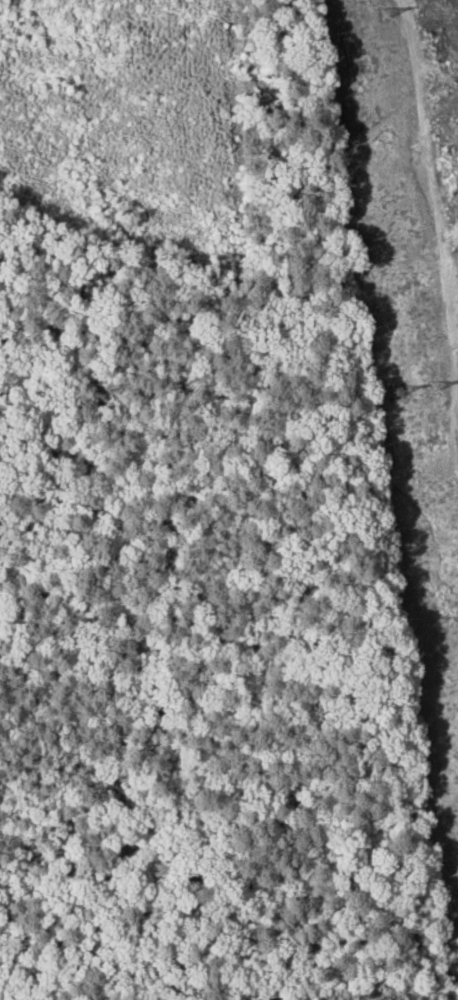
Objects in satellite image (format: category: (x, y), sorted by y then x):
power tower: (343, 16)
power tower: (380, 17)
power tower: (431, 388)
power tower: (392, 395)

